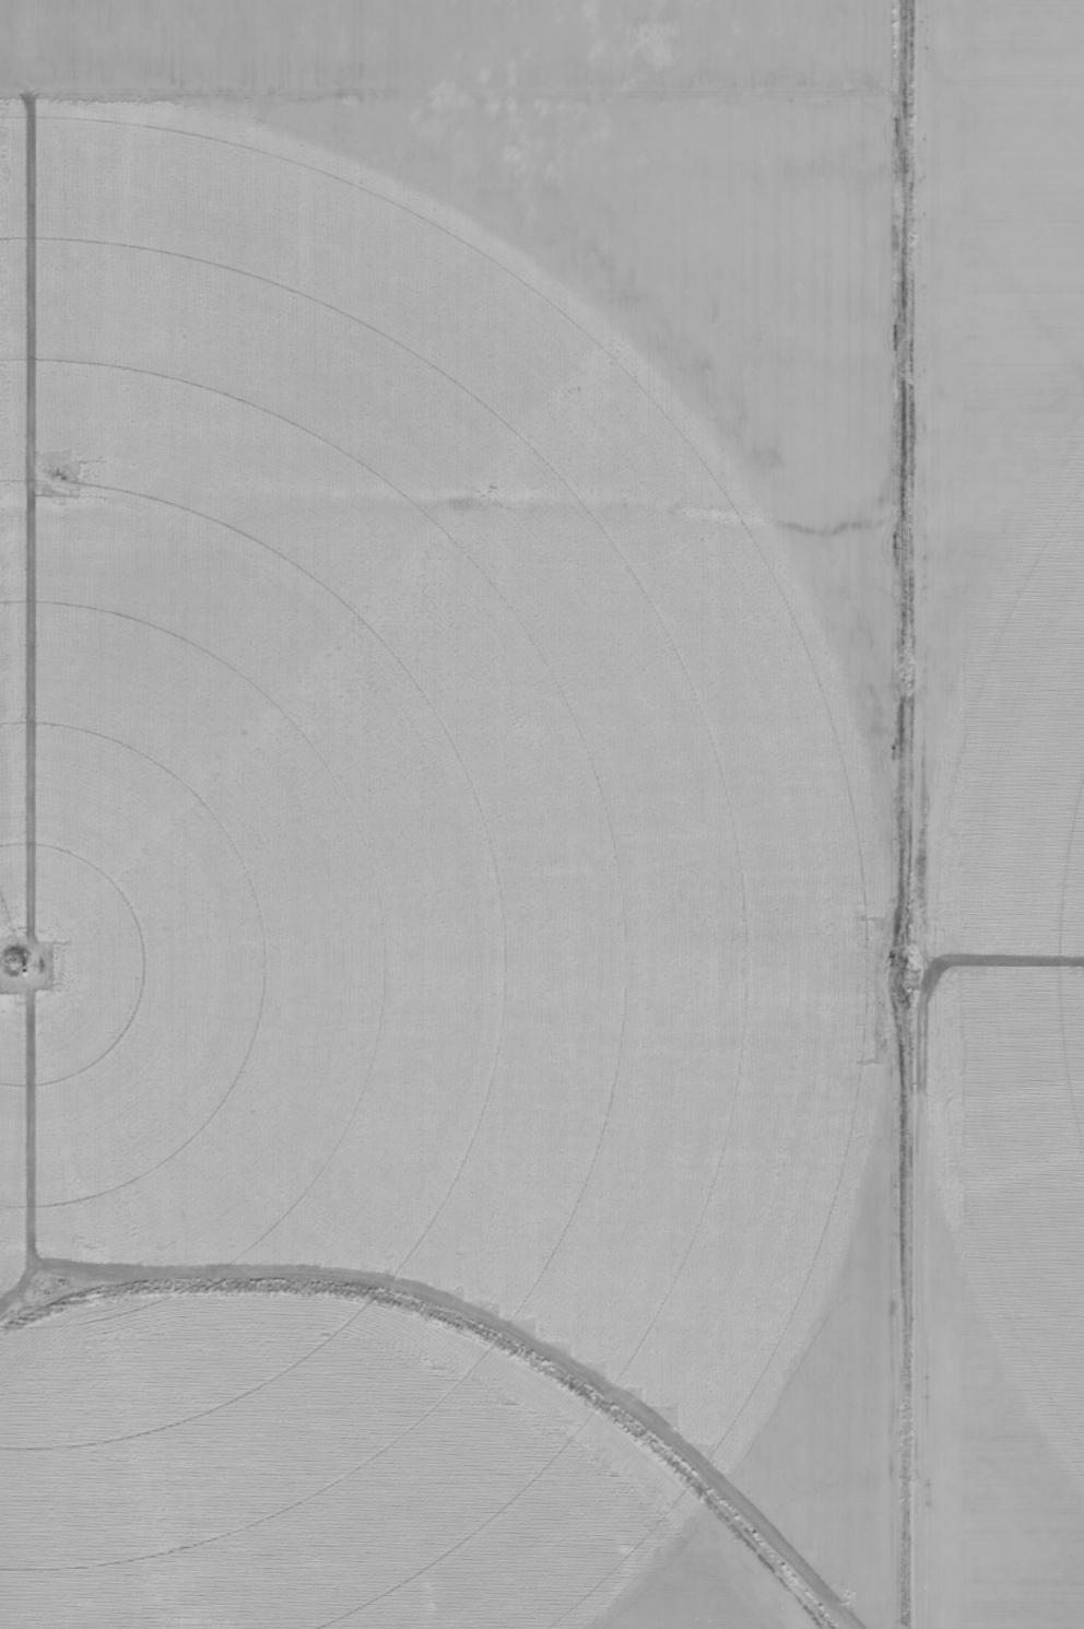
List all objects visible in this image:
road: (903, 814)

